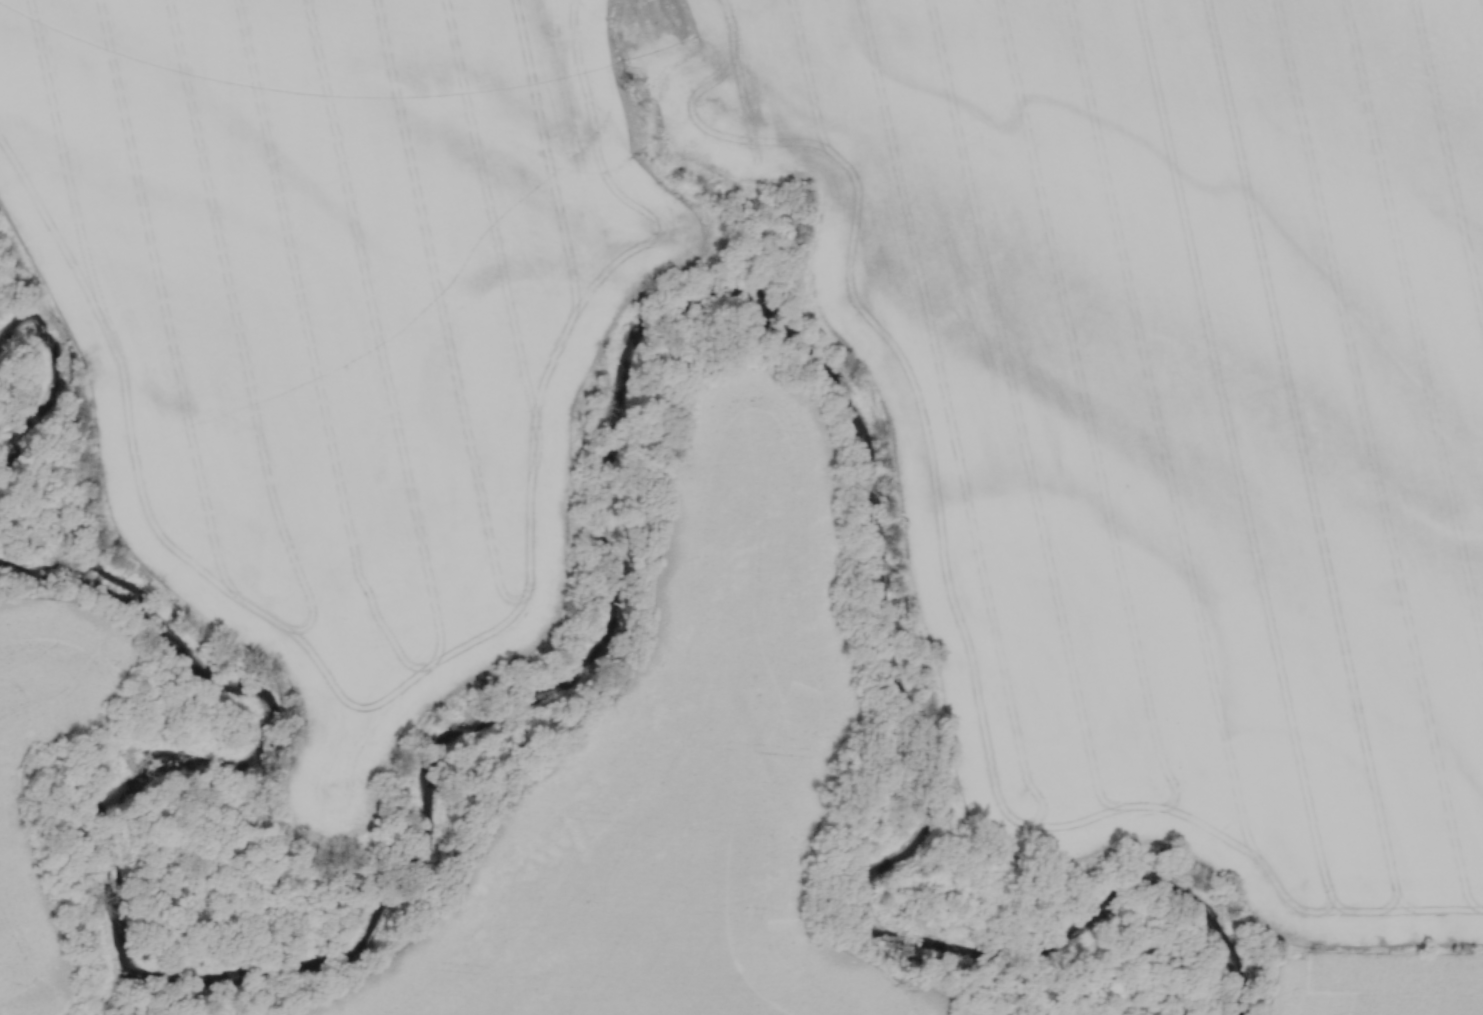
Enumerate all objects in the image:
river: (48, 393)
river: (869, 896)
river: (372, 917)

